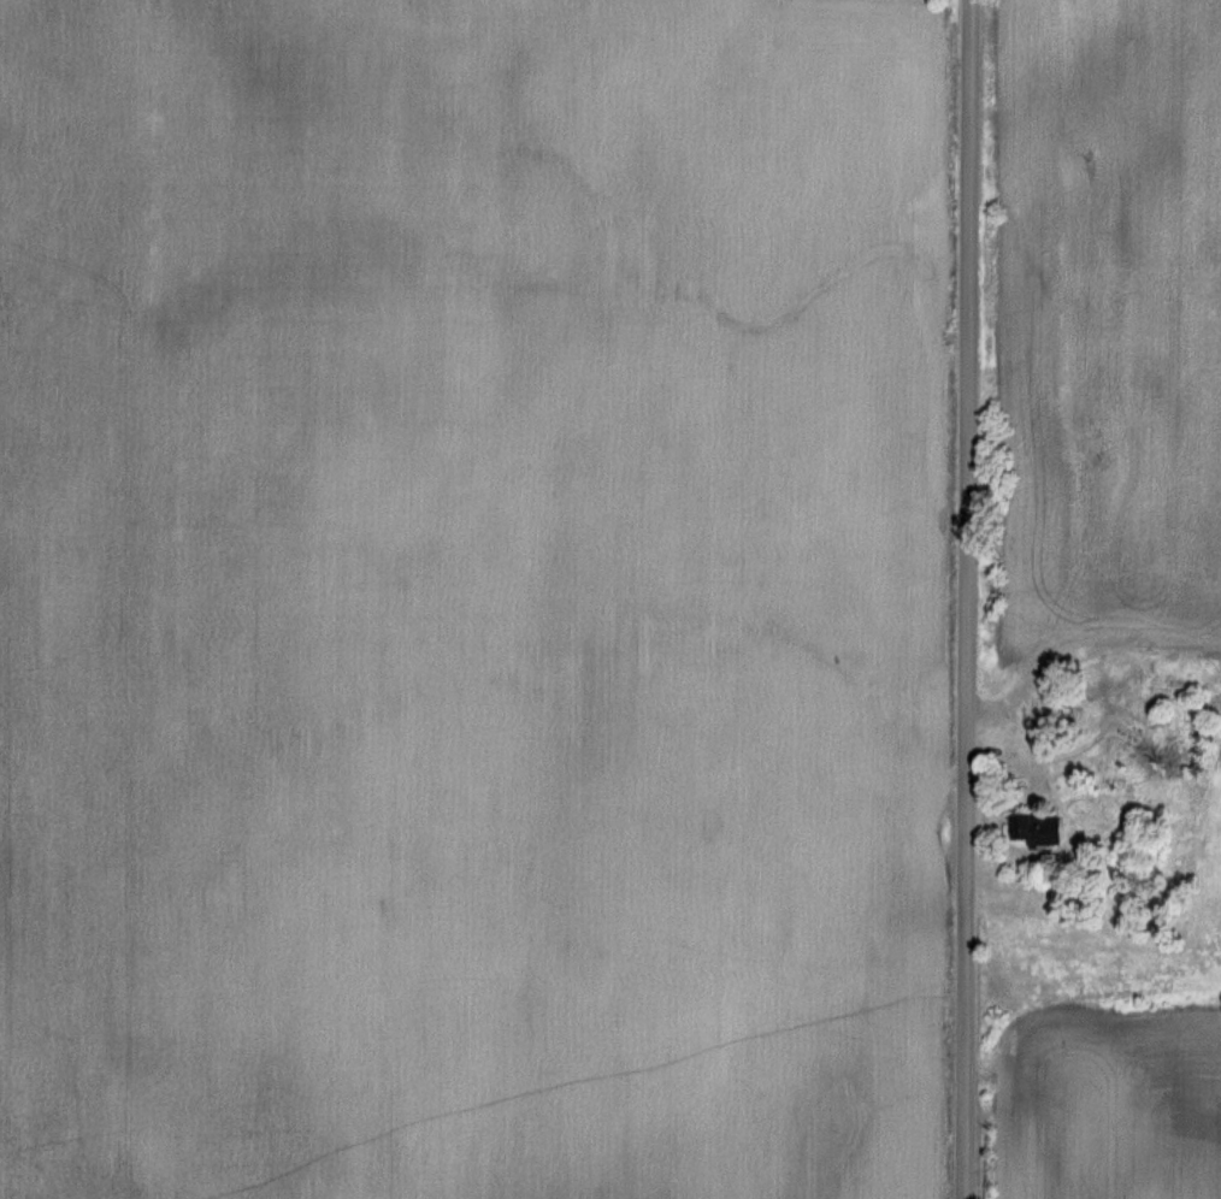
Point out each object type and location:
road: (969, 599)
building: (1028, 828)

